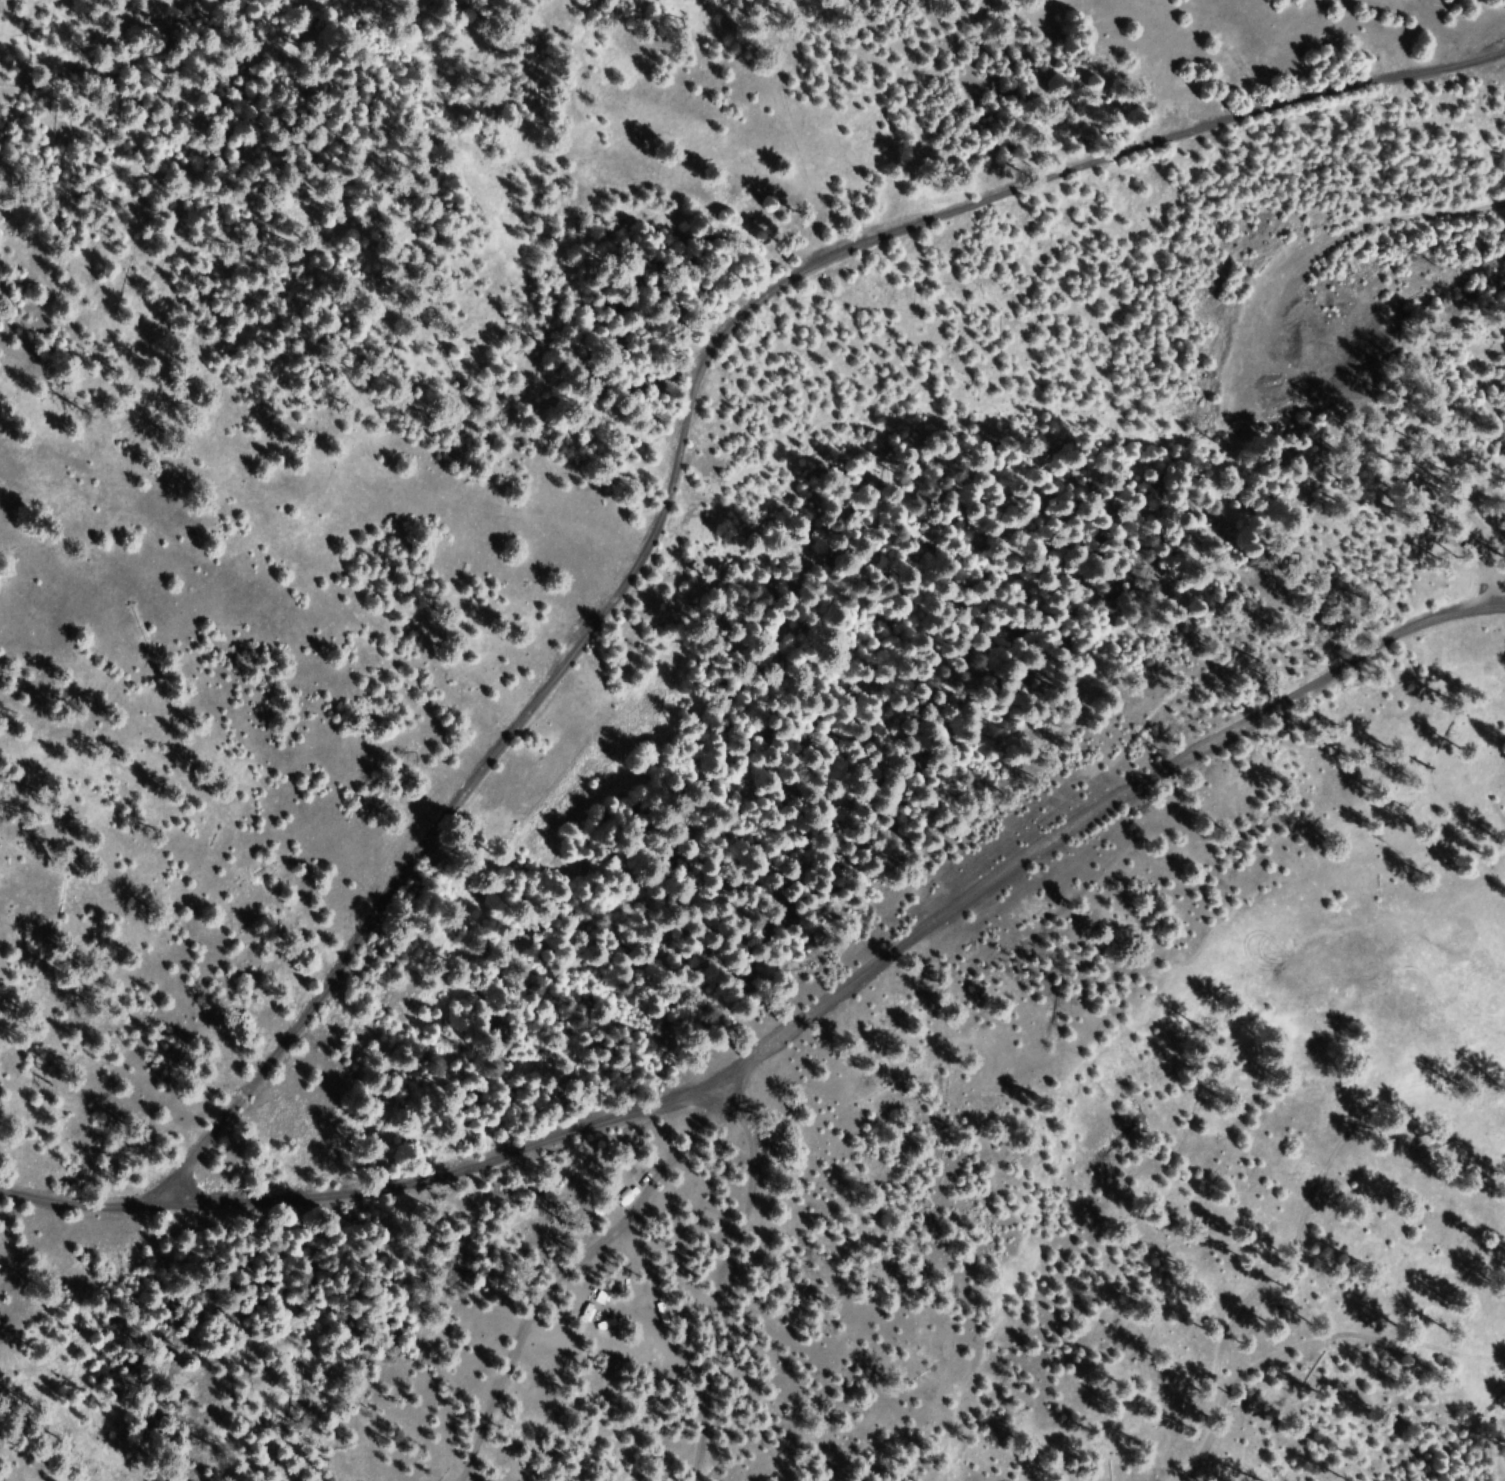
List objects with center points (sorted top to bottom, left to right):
road: (697, 440)
building: (1436, 535)
road: (1482, 555)
road: (794, 1028)
road: (721, 1099)
building: (1496, 1409)

